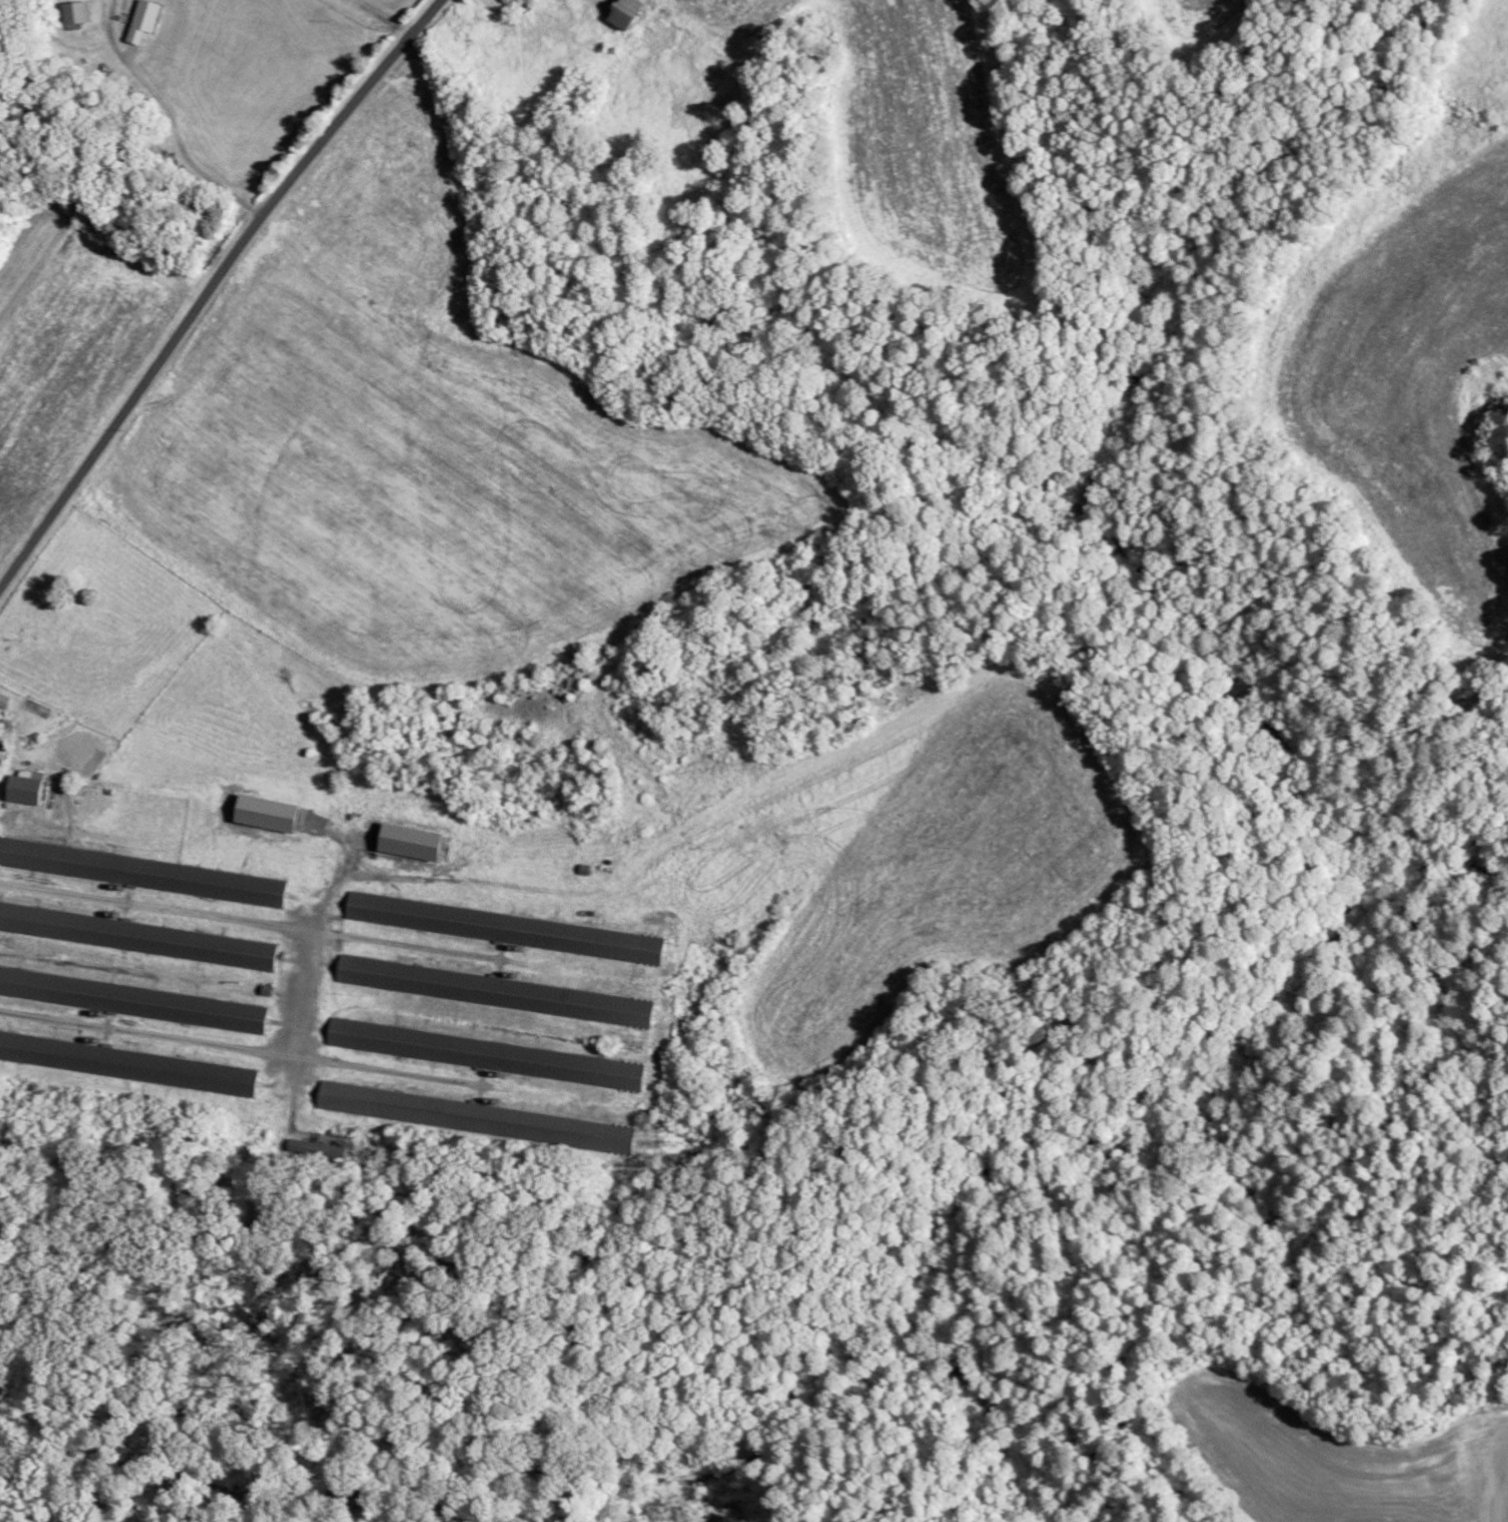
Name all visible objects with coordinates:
building: (80, 14)
building: (633, 14)
building: (144, 21)
road: (356, 26)
road: (171, 121)
road: (211, 288)
building: (259, 813)
building: (404, 842)
building: (142, 873)
building: (501, 928)
building: (138, 937)
road: (298, 983)
building: (492, 991)
building: (132, 1000)
building: (482, 1054)
building: (128, 1064)
building: (473, 1117)

